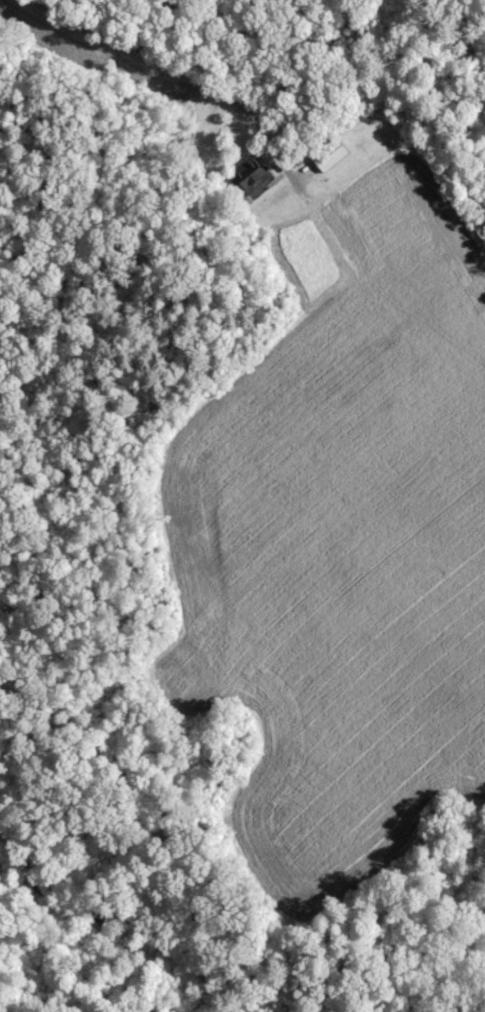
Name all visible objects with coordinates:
road: (195, 79)
building: (257, 177)

